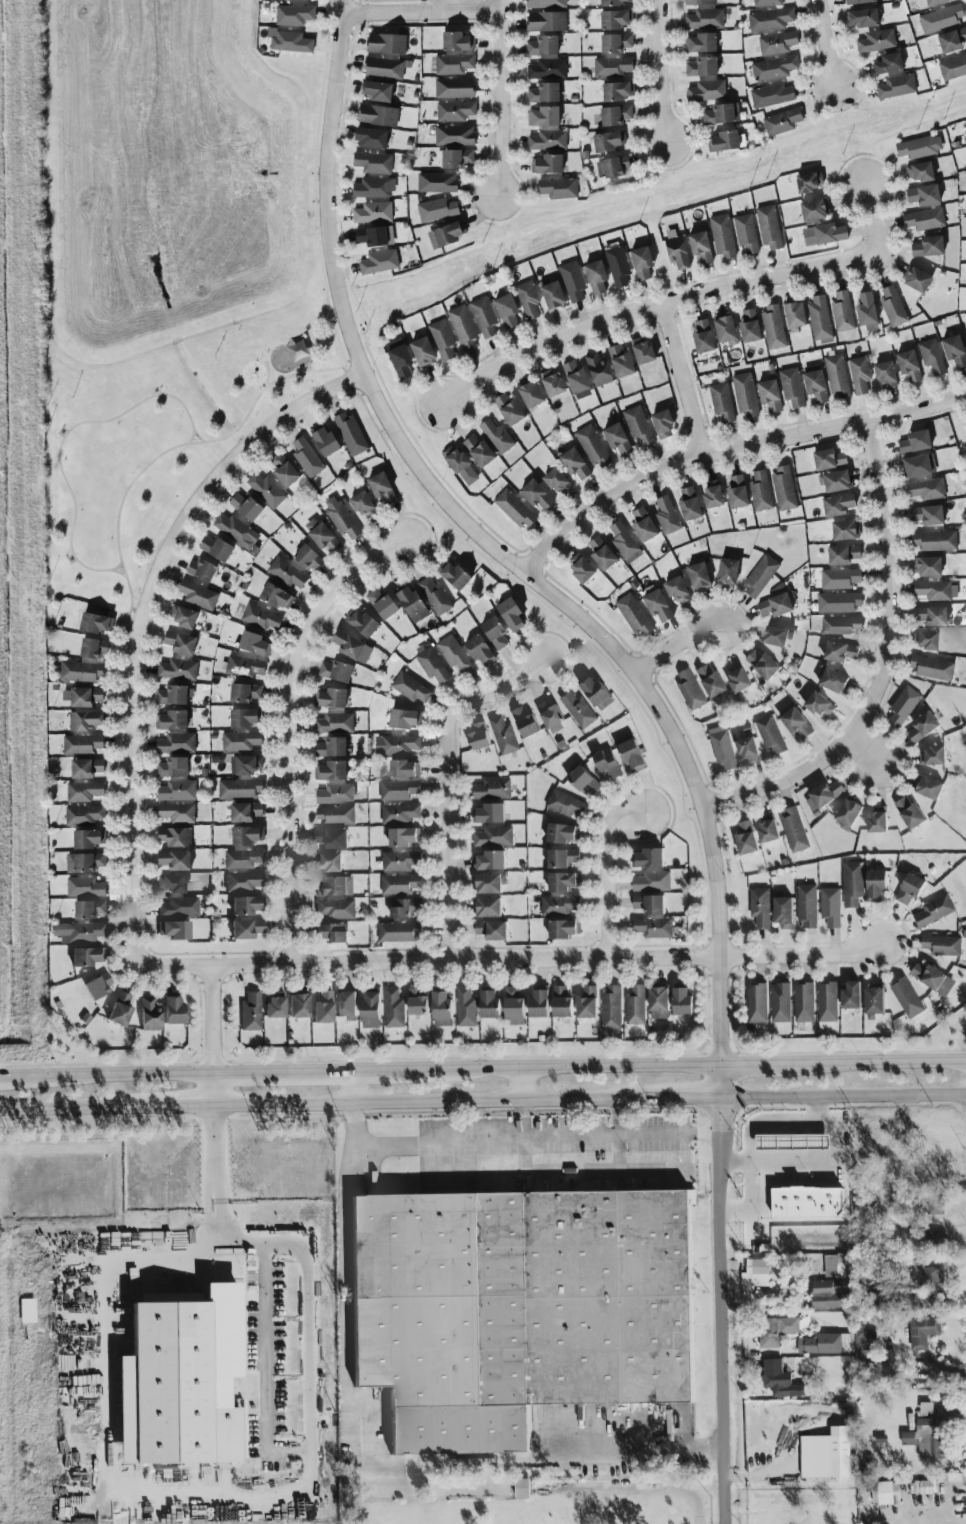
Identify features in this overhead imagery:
building: (300, 0)
building: (859, 1)
building: (612, 2)
building: (699, 2)
building: (766, 2)
building: (545, 3)
building: (929, 3)
road: (421, 11)
building: (294, 14)
building: (863, 17)
building: (941, 18)
building: (615, 19)
building: (704, 19)
building: (770, 19)
building: (546, 21)
building: (951, 40)
building: (288, 41)
building: (457, 41)
building: (876, 41)
road: (825, 42)
building: (385, 43)
building: (615, 43)
building: (700, 43)
building: (776, 43)
building: (542, 45)
building: (888, 63)
building: (453, 64)
building: (611, 66)
building: (701, 66)
building: (384, 67)
building: (952, 67)
building: (773, 68)
building: (546, 69)
road: (661, 71)
building: (896, 86)
building: (454, 88)
building: (376, 90)
building: (706, 90)
building: (617, 91)
building: (543, 93)
building: (771, 95)
road: (502, 99)
building: (454, 111)
building: (718, 114)
building: (377, 115)
building: (614, 115)
building: (544, 116)
building: (781, 122)
building: (965, 126)
building: (454, 135)
building: (370, 138)
building: (547, 140)
building: (607, 141)
building: (723, 141)
building: (918, 147)
building: (455, 158)
building: (372, 162)
building: (546, 164)
building: (612, 166)
building: (919, 171)
building: (809, 181)
building: (436, 182)
building: (373, 188)
building: (557, 188)
building: (923, 195)
building: (436, 209)
building: (812, 210)
building: (372, 212)
road: (872, 218)
building: (922, 219)
building: (768, 227)
building: (745, 233)
building: (829, 233)
building: (446, 234)
building: (371, 236)
building: (722, 237)
building: (927, 246)
building: (700, 247)
building: (676, 252)
building: (378, 262)
building: (641, 262)
building: (595, 276)
building: (915, 279)
building: (571, 281)
building: (552, 294)
building: (527, 299)
road: (653, 304)
building: (892, 305)
building: (865, 309)
building: (506, 310)
building: (841, 311)
building: (483, 316)
building: (794, 316)
building: (818, 318)
building: (462, 326)
building: (749, 326)
building: (772, 327)
building: (725, 330)
building: (702, 336)
building: (442, 338)
building: (641, 350)
building: (954, 351)
building: (422, 352)
building: (931, 356)
building: (398, 357)
building: (619, 360)
road: (306, 362)
road: (272, 365)
building: (908, 365)
road: (308, 368)
building: (597, 369)
building: (859, 375)
building: (885, 375)
building: (574, 376)
road: (684, 376)
building: (836, 376)
building: (551, 382)
building: (815, 386)
building: (791, 387)
building: (530, 394)
building: (744, 395)
building: (769, 395)
building: (721, 403)
building: (508, 409)
building: (661, 424)
building: (637, 426)
building: (965, 430)
road: (67, 432)
building: (350, 433)
building: (496, 435)
road: (191, 436)
building: (617, 440)
building: (324, 441)
building: (914, 442)
road: (182, 444)
building: (593, 447)
road: (728, 447)
building: (478, 451)
building: (306, 457)
building: (828, 459)
building: (573, 463)
building: (460, 465)
building: (918, 466)
building: (283, 469)
building: (556, 481)
building: (834, 481)
building: (782, 488)
building: (381, 489)
building: (925, 489)
building: (266, 490)
building: (736, 491)
building: (760, 491)
building: (535, 494)
building: (712, 496)
building: (688, 504)
building: (362, 505)
building: (837, 505)
building: (245, 506)
building: (513, 508)
building: (666, 515)
building: (923, 515)
building: (342, 520)
building: (642, 525)
building: (233, 528)
building: (844, 529)
building: (323, 538)
building: (934, 540)
building: (624, 542)
building: (215, 548)
road: (494, 549)
building: (601, 553)
building: (842, 554)
building: (307, 557)
road: (117, 565)
building: (926, 566)
building: (580, 567)
building: (200, 569)
building: (726, 571)
road: (119, 572)
building: (287, 573)
building: (453, 574)
building: (698, 577)
building: (839, 578)
building: (676, 590)
building: (936, 590)
building: (197, 595)
building: (276, 596)
building: (434, 596)
building: (409, 600)
building: (838, 602)
building: (381, 603)
building: (655, 603)
building: (774, 605)
building: (510, 614)
building: (633, 615)
building: (931, 615)
building: (183, 616)
building: (260, 617)
building: (360, 622)
building: (96, 623)
road: (139, 623)
building: (839, 626)
building: (494, 632)
building: (776, 637)
building: (926, 641)
building: (179, 642)
building: (253, 643)
building: (93, 647)
building: (351, 647)
road: (675, 648)
building: (479, 650)
building: (452, 653)
building: (841, 653)
building: (431, 665)
road: (884, 665)
building: (244, 666)
building: (763, 666)
building: (177, 669)
building: (932, 669)
building: (80, 671)
building: (335, 671)
building: (739, 679)
building: (833, 682)
building: (712, 683)
building: (410, 688)
building: (244, 692)
building: (691, 692)
building: (596, 694)
building: (171, 695)
building: (85, 696)
building: (331, 697)
building: (820, 707)
building: (904, 707)
building: (579, 711)
building: (551, 716)
building: (244, 717)
building: (403, 718)
building: (85, 720)
building: (171, 720)
building: (335, 723)
building: (526, 723)
building: (796, 724)
road: (289, 727)
building: (923, 728)
building: (504, 737)
building: (771, 737)
building: (478, 738)
building: (240, 740)
building: (176, 743)
building: (81, 744)
building: (397, 744)
building: (330, 747)
building: (723, 751)
building: (749, 752)
building: (631, 754)
building: (932, 758)
building: (245, 764)
building: (608, 766)
building: (172, 767)
building: (85, 768)
building: (404, 769)
building: (330, 770)
building: (585, 783)
road: (447, 784)
building: (239, 788)
building: (928, 789)
building: (176, 790)
building: (83, 791)
building: (493, 791)
building: (399, 792)
building: (335, 794)
building: (824, 797)
building: (566, 806)
building: (176, 812)
building: (244, 812)
building: (83, 815)
building: (400, 815)
building: (489, 815)
building: (848, 815)
building: (910, 815)
building: (335, 816)
building: (878, 823)
building: (794, 831)
building: (768, 832)
building: (246, 835)
building: (563, 835)
building: (175, 837)
building: (86, 838)
building: (494, 838)
building: (404, 839)
building: (746, 839)
building: (334, 840)
building: (242, 859)
building: (174, 860)
building: (563, 860)
building: (649, 860)
building: (84, 862)
building: (401, 862)
building: (490, 862)
building: (332, 864)
road: (607, 876)
building: (244, 882)
building: (170, 883)
building: (564, 883)
building: (652, 883)
building: (490, 885)
building: (853, 885)
building: (400, 886)
building: (84, 887)
building: (877, 887)
building: (332, 888)
building: (910, 890)
building: (650, 905)
building: (247, 906)
building: (560, 907)
building: (179, 908)
building: (807, 908)
building: (831, 908)
building: (89, 909)
building: (405, 909)
building: (488, 909)
building: (760, 909)
building: (336, 910)
building: (935, 912)
building: (784, 915)
building: (246, 929)
building: (653, 929)
building: (174, 931)
building: (493, 931)
building: (564, 931)
building: (78, 932)
building: (332, 934)
building: (399, 934)
building: (942, 947)
building: (86, 957)
road: (519, 961)
building: (933, 980)
building: (98, 987)
building: (851, 997)
building: (660, 1000)
building: (907, 1000)
building: (682, 1002)
building: (875, 1002)
building: (418, 1003)
building: (588, 1003)
building: (540, 1004)
building: (562, 1004)
building: (781, 1004)
building: (804, 1004)
building: (828, 1004)
building: (757, 1005)
building: (275, 1006)
building: (298, 1006)
building: (490, 1006)
building: (347, 1007)
building: (515, 1007)
building: (636, 1007)
building: (323, 1009)
building: (466, 1009)
building: (120, 1010)
building: (394, 1010)
building: (612, 1010)
building: (174, 1012)
building: (251, 1012)
building: (371, 1012)
building: (150, 1015)
road: (213, 1020)
road: (875, 1063)
road: (753, 1066)
road: (576, 1067)
road: (322, 1070)
road: (126, 1074)
road: (19, 1076)
road: (524, 1084)
road: (355, 1087)
road: (214, 1089)
road: (844, 1096)
road: (690, 1099)
road: (436, 1103)
road: (177, 1106)
road: (70, 1108)
road: (820, 1113)
road: (577, 1136)
road: (821, 1137)
road: (525, 1138)
building: (763, 1144)
road: (393, 1148)
road: (618, 1155)
road: (431, 1157)
road: (780, 1162)
road: (560, 1174)
road: (214, 1175)
road: (752, 1203)
building: (807, 1204)
building: (936, 1206)
building: (929, 1240)
road: (113, 1248)
building: (834, 1267)
building: (756, 1274)
building: (931, 1279)
road: (725, 1295)
building: (831, 1295)
building: (519, 1310)
building: (27, 1311)
building: (776, 1332)
building: (923, 1333)
building: (822, 1344)
building: (865, 1358)
road: (265, 1368)
building: (180, 1379)
building: (779, 1382)
building: (927, 1442)
building: (826, 1455)
road: (363, 1461)
building: (926, 1488)
building: (522, 1489)
building: (888, 1495)

